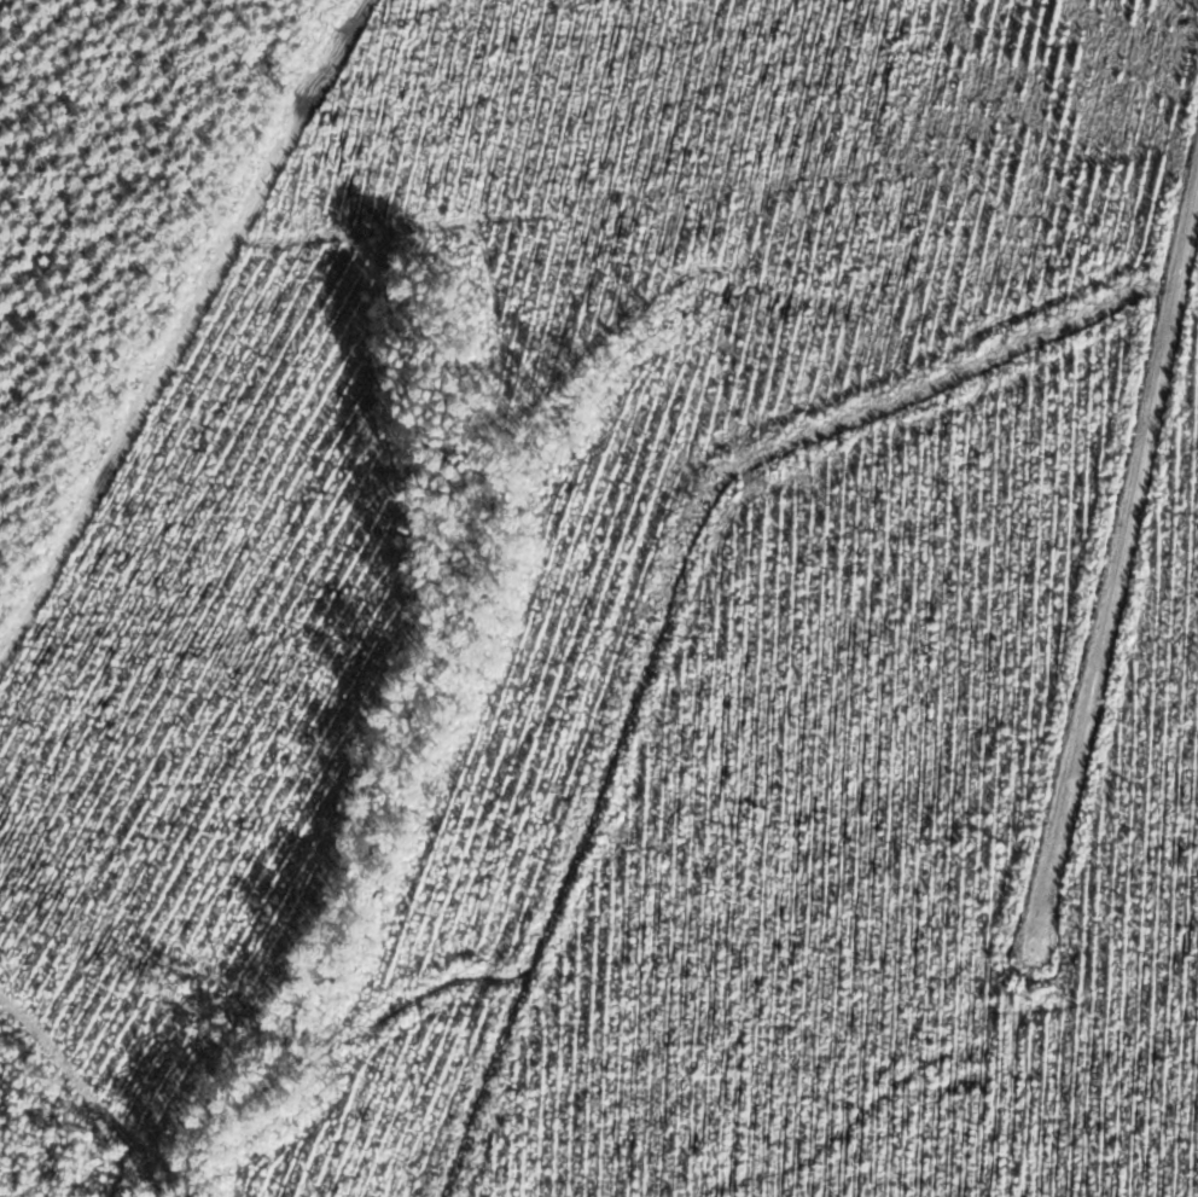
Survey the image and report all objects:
road: (1121, 570)

